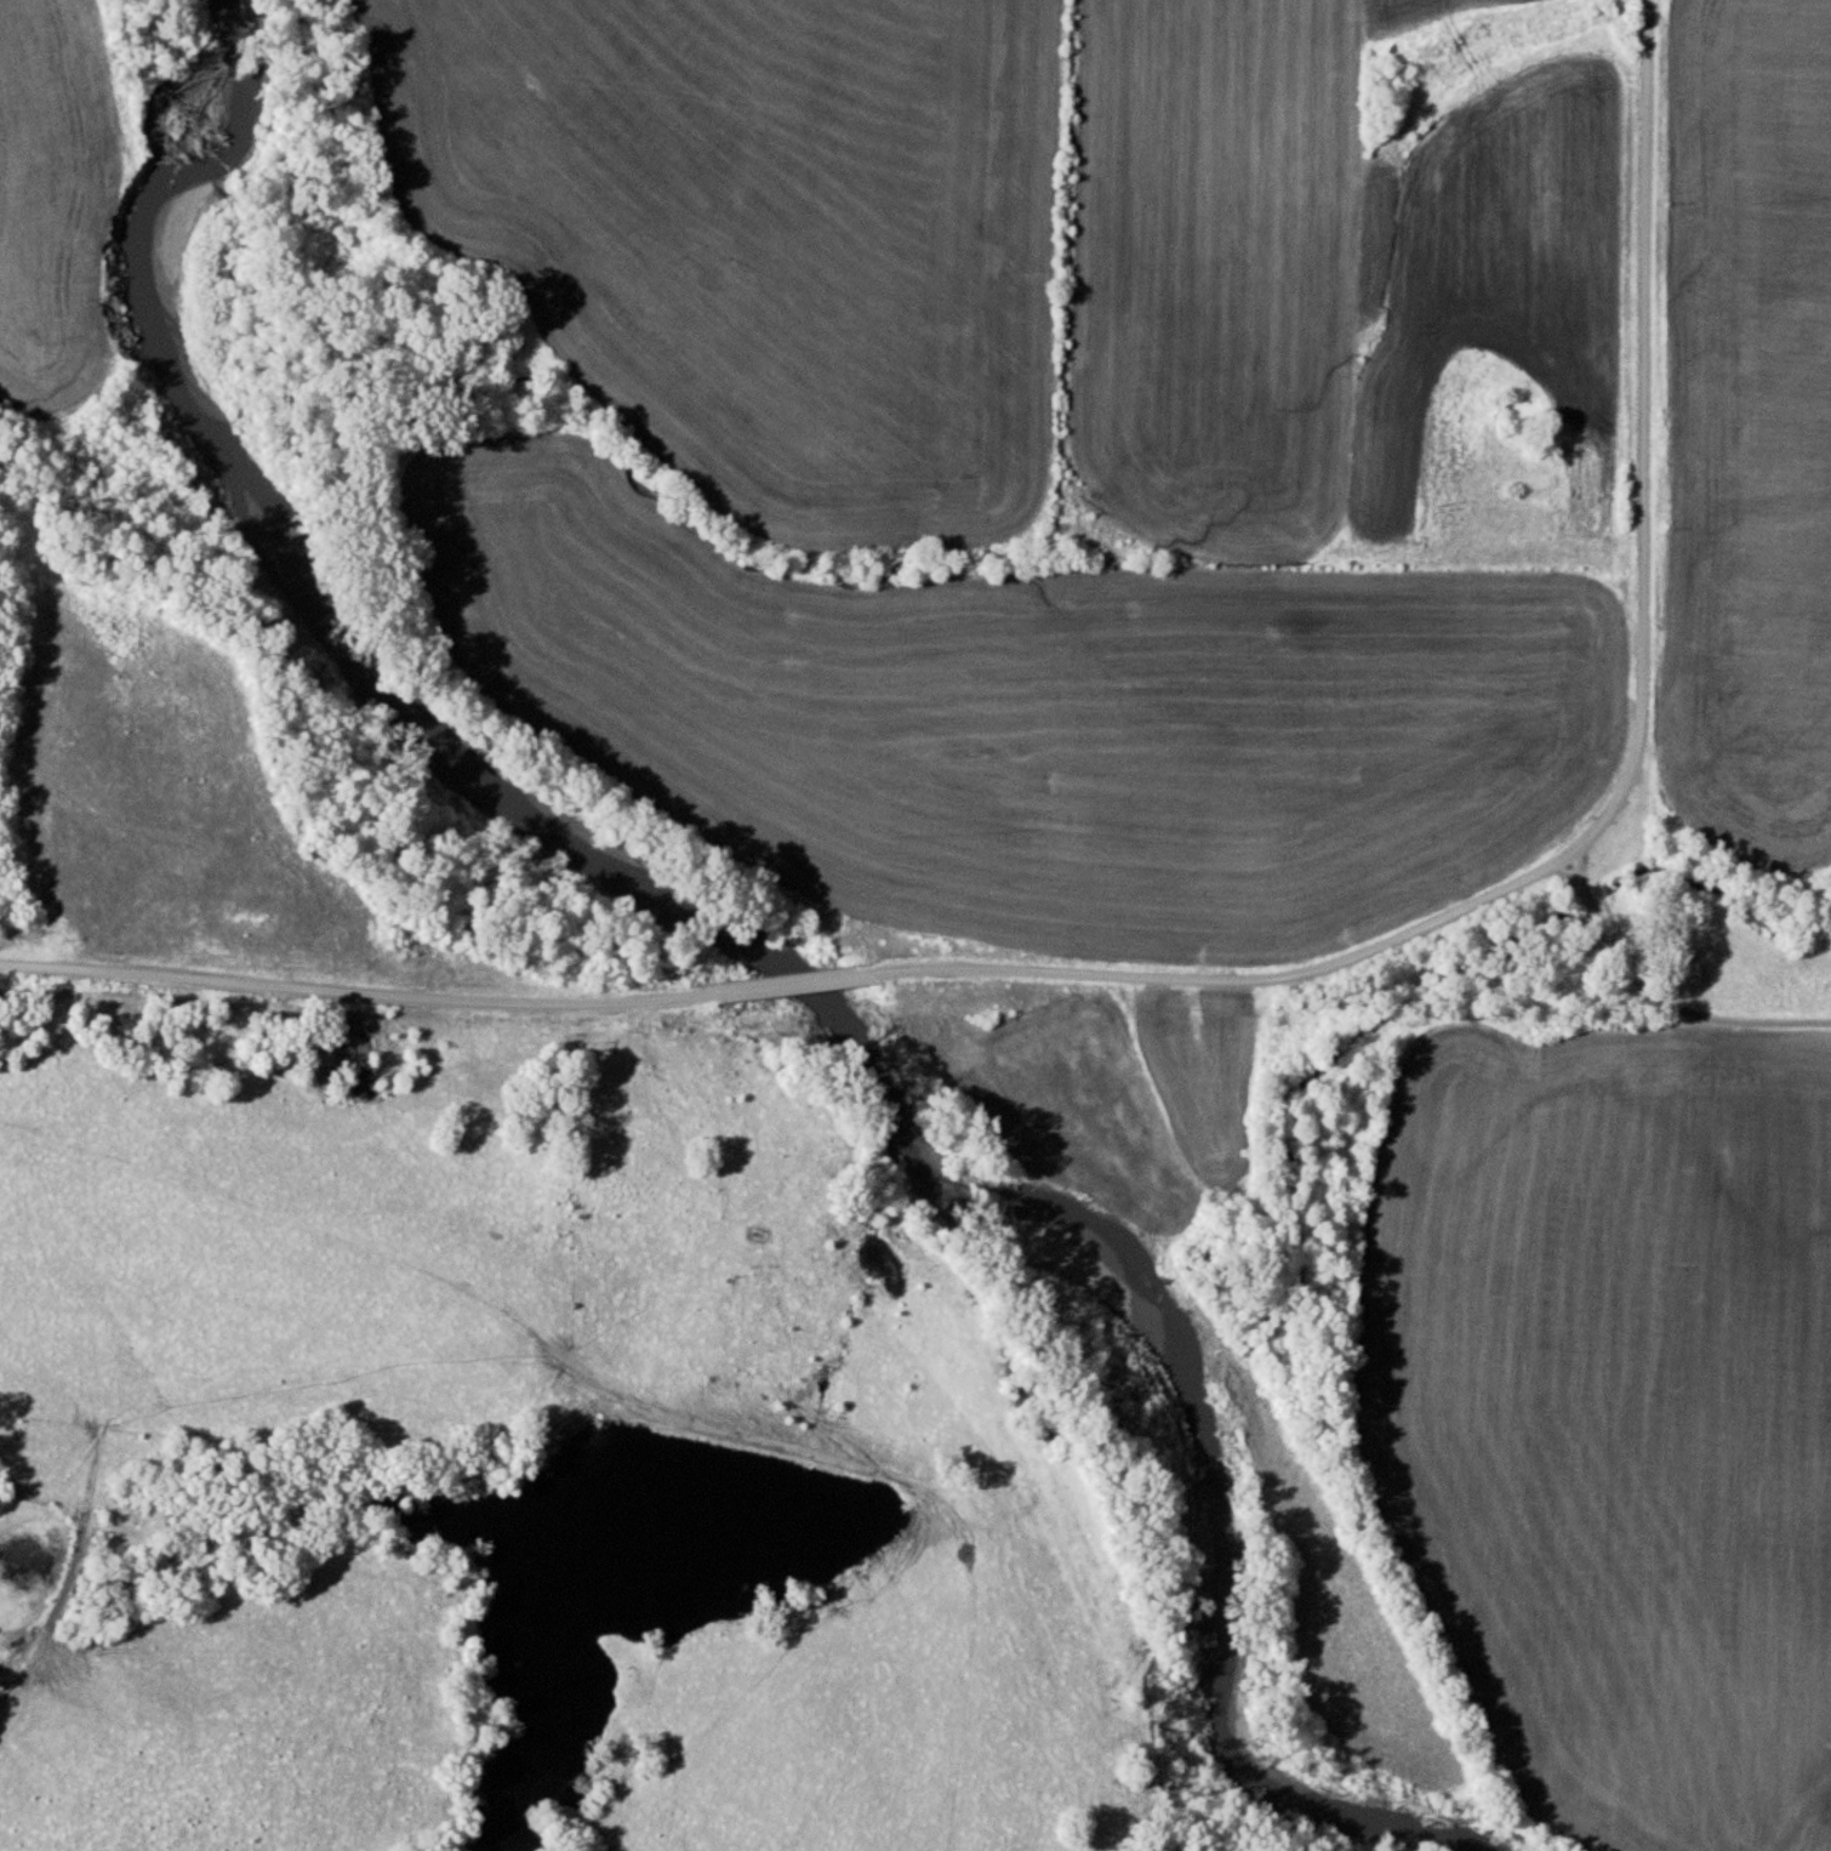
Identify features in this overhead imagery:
road: (1579, 427)
road: (1230, 980)
road: (788, 981)
road: (354, 990)
road: (1652, 1020)

